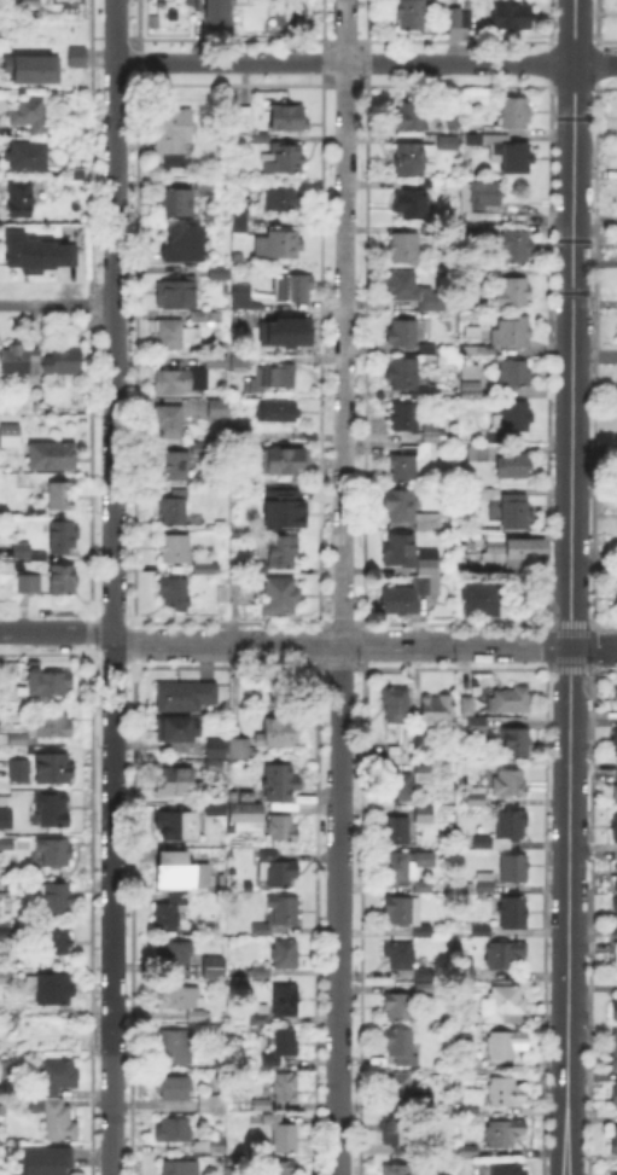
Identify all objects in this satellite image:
building: (297, 12)
building: (219, 14)
building: (409, 14)
building: (512, 18)
building: (460, 21)
road: (229, 37)
road: (138, 48)
building: (77, 59)
road: (366, 62)
building: (34, 70)
building: (513, 114)
building: (31, 116)
building: (413, 117)
building: (287, 118)
building: (174, 134)
building: (261, 140)
building: (448, 144)
building: (504, 152)
building: (27, 157)
building: (285, 159)
building: (414, 161)
building: (203, 187)
building: (283, 199)
building: (19, 200)
building: (176, 203)
building: (484, 203)
building: (412, 204)
building: (239, 223)
building: (473, 229)
road: (572, 242)
building: (180, 243)
building: (279, 245)
building: (517, 246)
building: (406, 249)
building: (33, 251)
building: (221, 274)
building: (293, 289)
building: (412, 292)
building: (513, 293)
building: (181, 296)
building: (240, 297)
road: (57, 304)
road: (113, 319)
building: (202, 319)
building: (263, 319)
building: (291, 333)
building: (473, 333)
building: (513, 333)
building: (175, 335)
building: (402, 335)
building: (478, 350)
building: (429, 354)
building: (63, 362)
building: (240, 362)
building: (18, 363)
building: (404, 374)
building: (513, 374)
building: (190, 377)
building: (270, 379)
building: (470, 382)
building: (424, 395)
building: (219, 411)
building: (278, 413)
building: (513, 417)
building: (404, 418)
building: (169, 421)
building: (433, 435)
building: (11, 437)
building: (496, 438)
building: (200, 448)
building: (479, 454)
building: (52, 458)
building: (287, 463)
building: (176, 466)
building: (404, 466)
building: (513, 467)
building: (484, 493)
building: (62, 499)
building: (283, 507)
building: (174, 510)
building: (408, 511)
building: (516, 512)
building: (35, 514)
building: (63, 537)
building: (174, 551)
building: (284, 551)
building: (400, 552)
building: (518, 552)
building: (21, 555)
building: (37, 555)
building: (205, 566)
building: (255, 572)
building: (429, 574)
building: (28, 584)
building: (63, 584)
road: (342, 587)
building: (231, 593)
building: (174, 594)
building: (280, 597)
building: (400, 601)
building: (483, 601)
road: (57, 632)
road: (365, 646)
building: (47, 684)
road: (569, 684)
building: (615, 694)
building: (185, 697)
building: (514, 700)
building: (396, 706)
building: (468, 708)
building: (437, 709)
building: (476, 726)
building: (53, 727)
building: (177, 731)
building: (275, 732)
building: (23, 739)
building: (418, 741)
building: (516, 743)
building: (615, 743)
building: (238, 749)
building: (217, 750)
building: (216, 767)
building: (53, 768)
building: (18, 769)
building: (425, 772)
building: (616, 775)
building: (174, 781)
building: (280, 784)
building: (510, 785)
building: (400, 789)
building: (475, 798)
building: (52, 809)
building: (425, 815)
building: (6, 818)
building: (246, 819)
building: (180, 825)
building: (616, 827)
building: (281, 830)
building: (398, 832)
building: (505, 832)
building: (6, 844)
building: (53, 855)
building: (616, 859)
building: (402, 867)
building: (176, 869)
building: (514, 869)
building: (277, 871)
building: (615, 883)
building: (485, 884)
building: (424, 885)
building: (53, 900)
road: (111, 906)
building: (283, 912)
building: (403, 912)
building: (169, 914)
building: (513, 914)
building: (615, 921)
building: (5, 929)
building: (261, 930)
building: (482, 931)
building: (423, 932)
building: (56, 944)
building: (176, 953)
building: (505, 954)
building: (286, 956)
building: (401, 956)
building: (615, 964)
building: (213, 968)
building: (467, 968)
building: (425, 972)
building: (262, 975)
building: (5, 977)
building: (424, 987)
building: (50, 990)
building: (181, 999)
building: (286, 1001)
building: (506, 1006)
building: (397, 1007)
building: (615, 1012)
building: (198, 1017)
building: (260, 1017)
road: (567, 1030)
road: (56, 1036)
building: (507, 1045)
building: (279, 1047)
building: (175, 1048)
building: (401, 1048)
building: (613, 1052)
building: (472, 1059)
building: (57, 1076)
building: (398, 1087)
building: (286, 1088)
building: (174, 1089)
building: (506, 1095)
building: (613, 1097)
building: (208, 1101)
building: (262, 1105)
building: (470, 1105)
building: (616, 1105)
building: (58, 1118)
building: (273, 1121)
building: (175, 1132)
building: (502, 1133)
building: (395, 1134)
building: (285, 1139)
building: (613, 1144)
building: (215, 1145)
building: (468, 1152)
building: (45, 1162)
building: (180, 1169)
building: (280, 1169)
building: (397, 1170)
building: (507, 1170)
building: (233, 1173)
building: (611, 1173)

